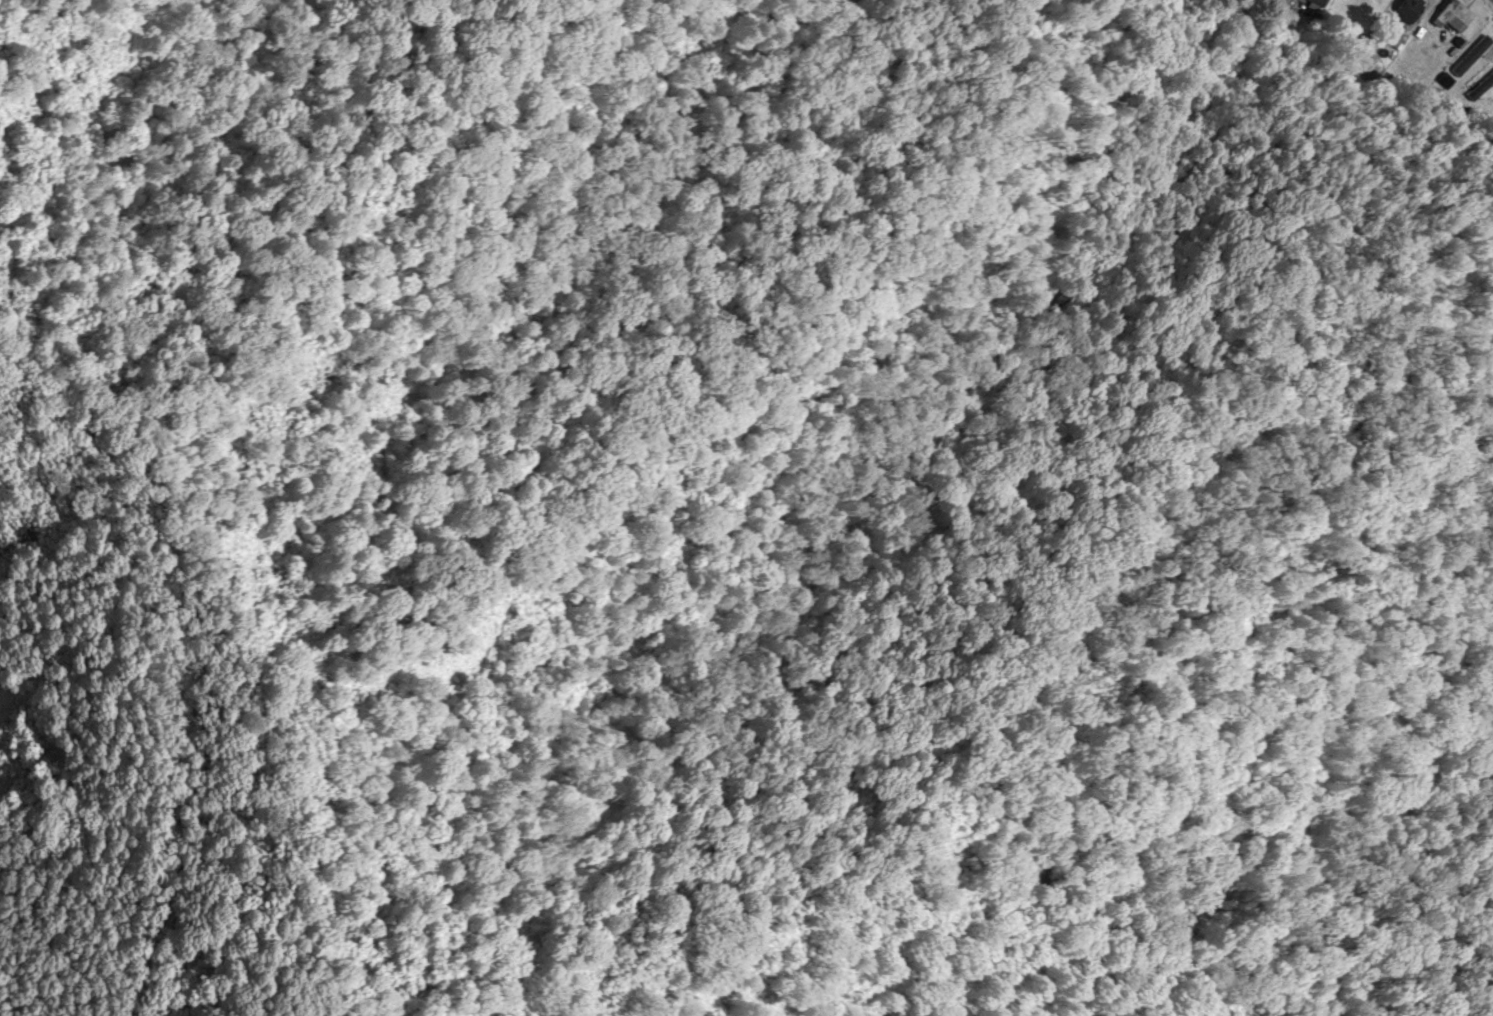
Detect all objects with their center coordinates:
building: (1403, 10)
building: (1450, 17)
building: (1461, 68)
building: (1482, 86)
building: (1486, 108)

